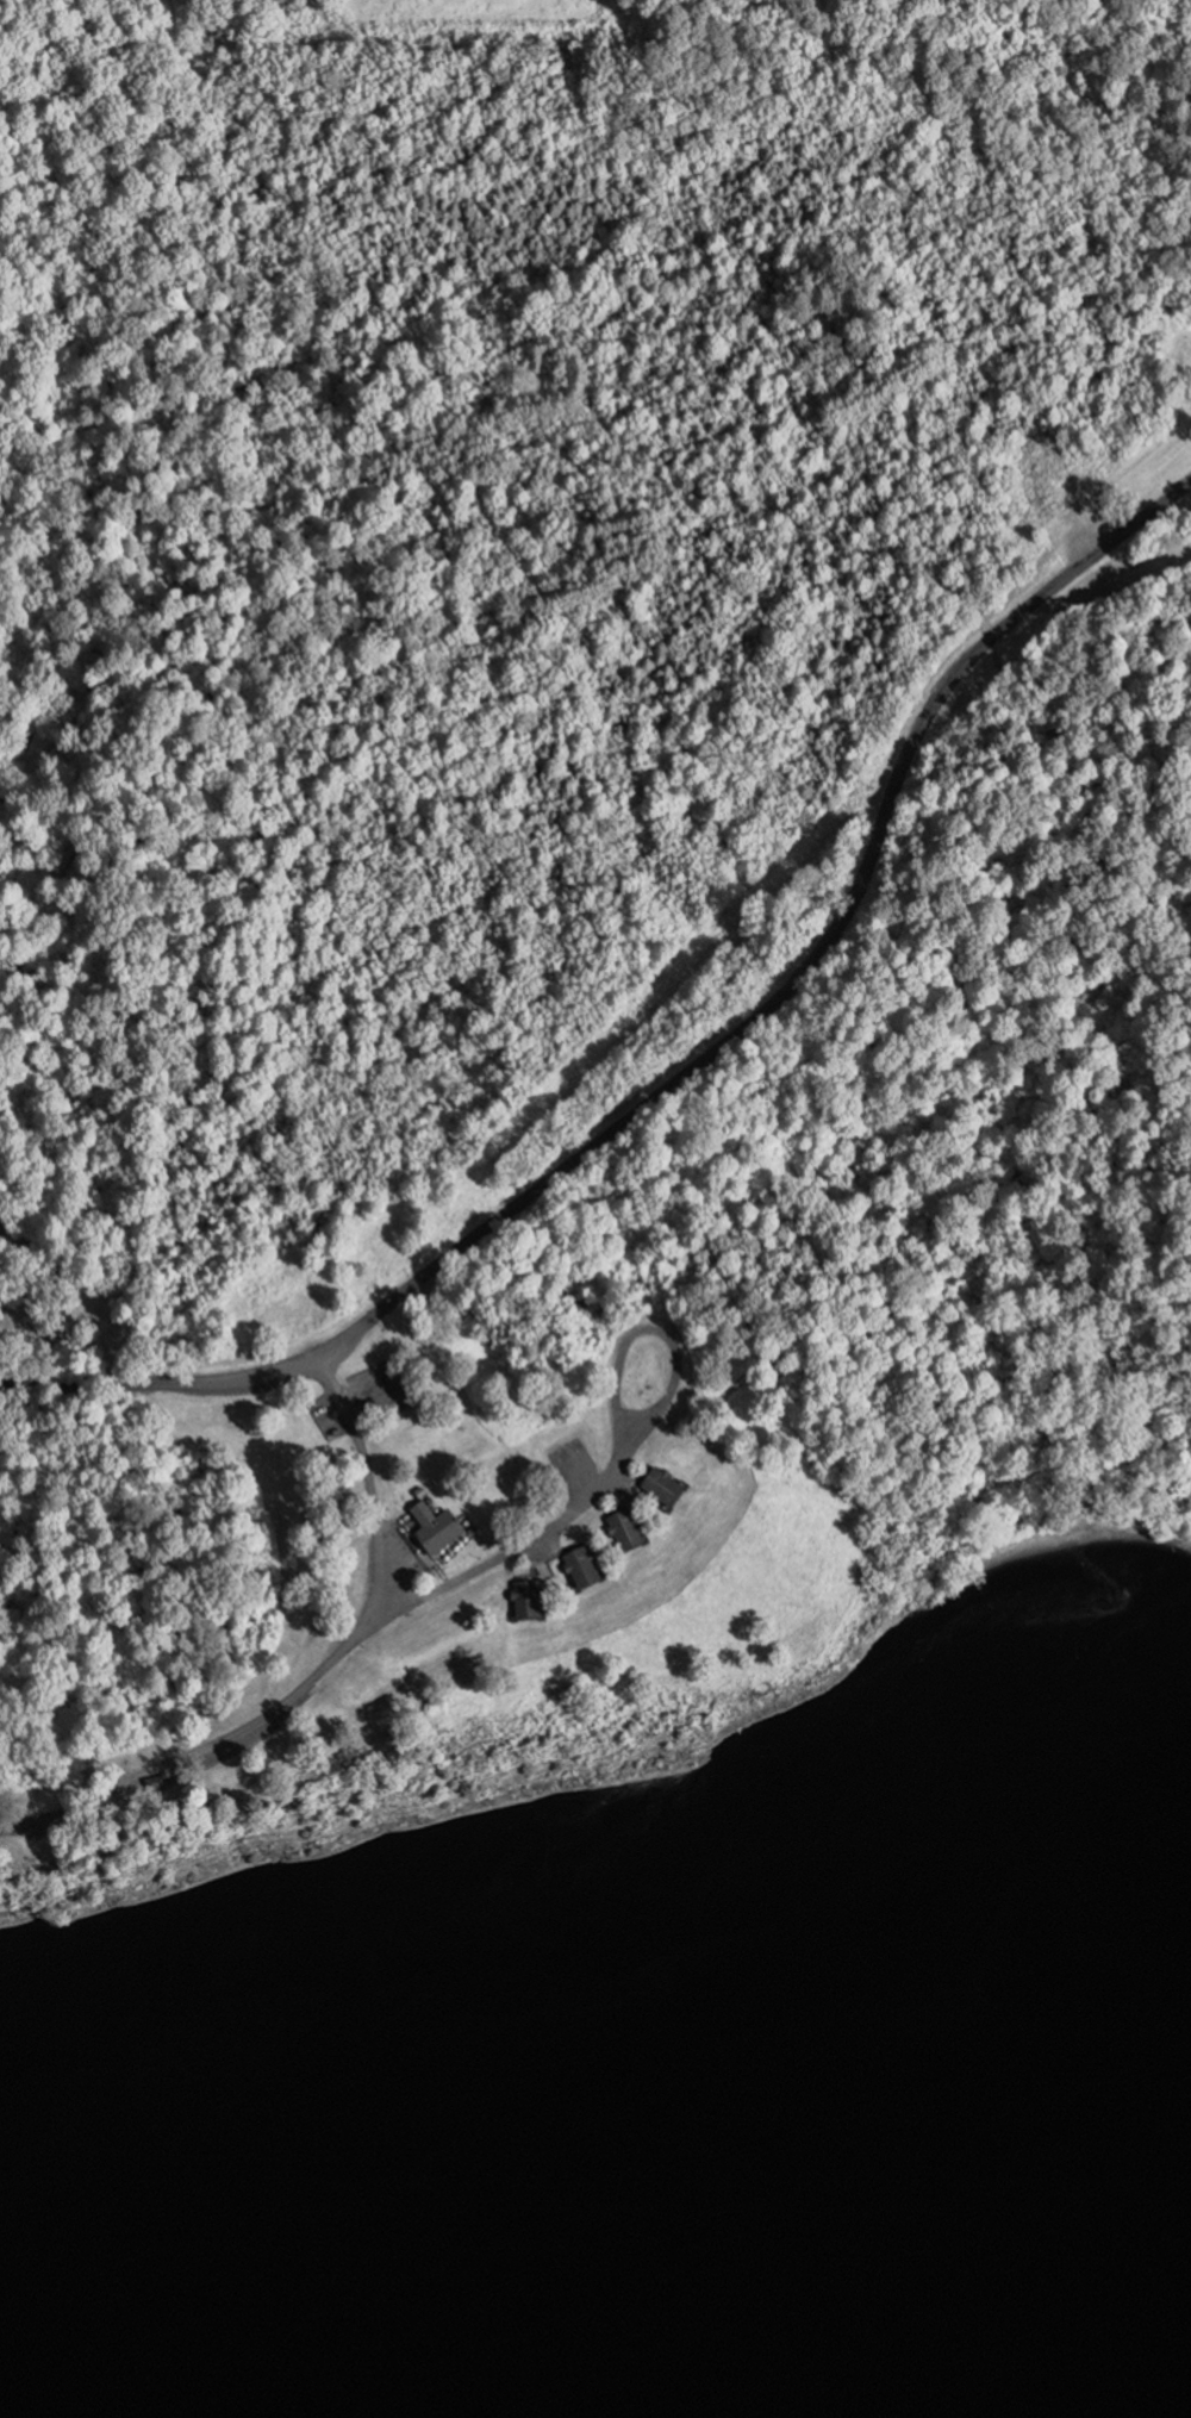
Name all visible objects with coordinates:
road: (472, 469)
road: (807, 965)
road: (89, 1303)
road: (205, 1357)
road: (157, 1384)
road: (622, 1453)
building: (665, 1490)
building: (432, 1527)
building: (626, 1534)
building: (584, 1571)
building: (528, 1603)
road: (310, 1675)
river: (1093, 2392)

